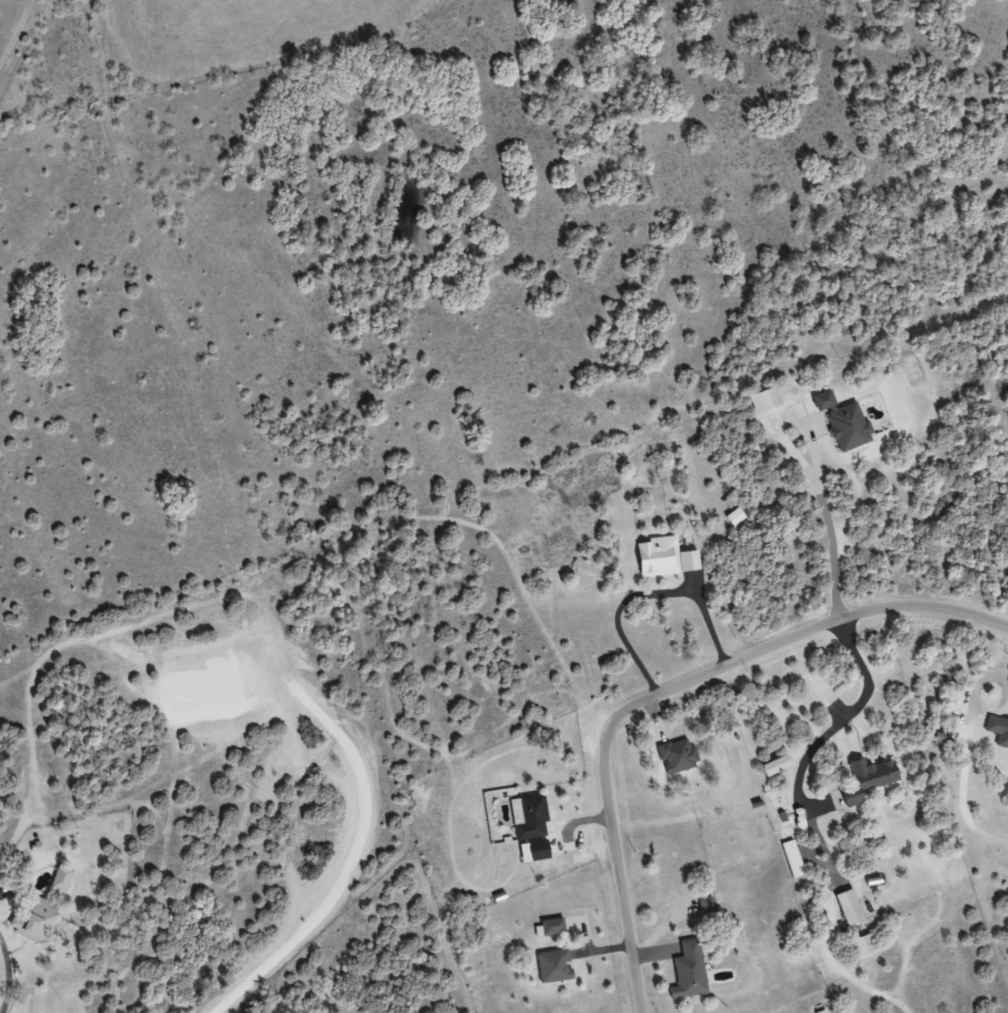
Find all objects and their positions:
building: (659, 557)
road: (651, 588)
road: (667, 686)
building: (998, 731)
building: (675, 756)
building: (864, 779)
building: (530, 818)
building: (704, 905)
building: (35, 908)
building: (850, 914)
building: (550, 927)
building: (552, 966)
building: (687, 971)

